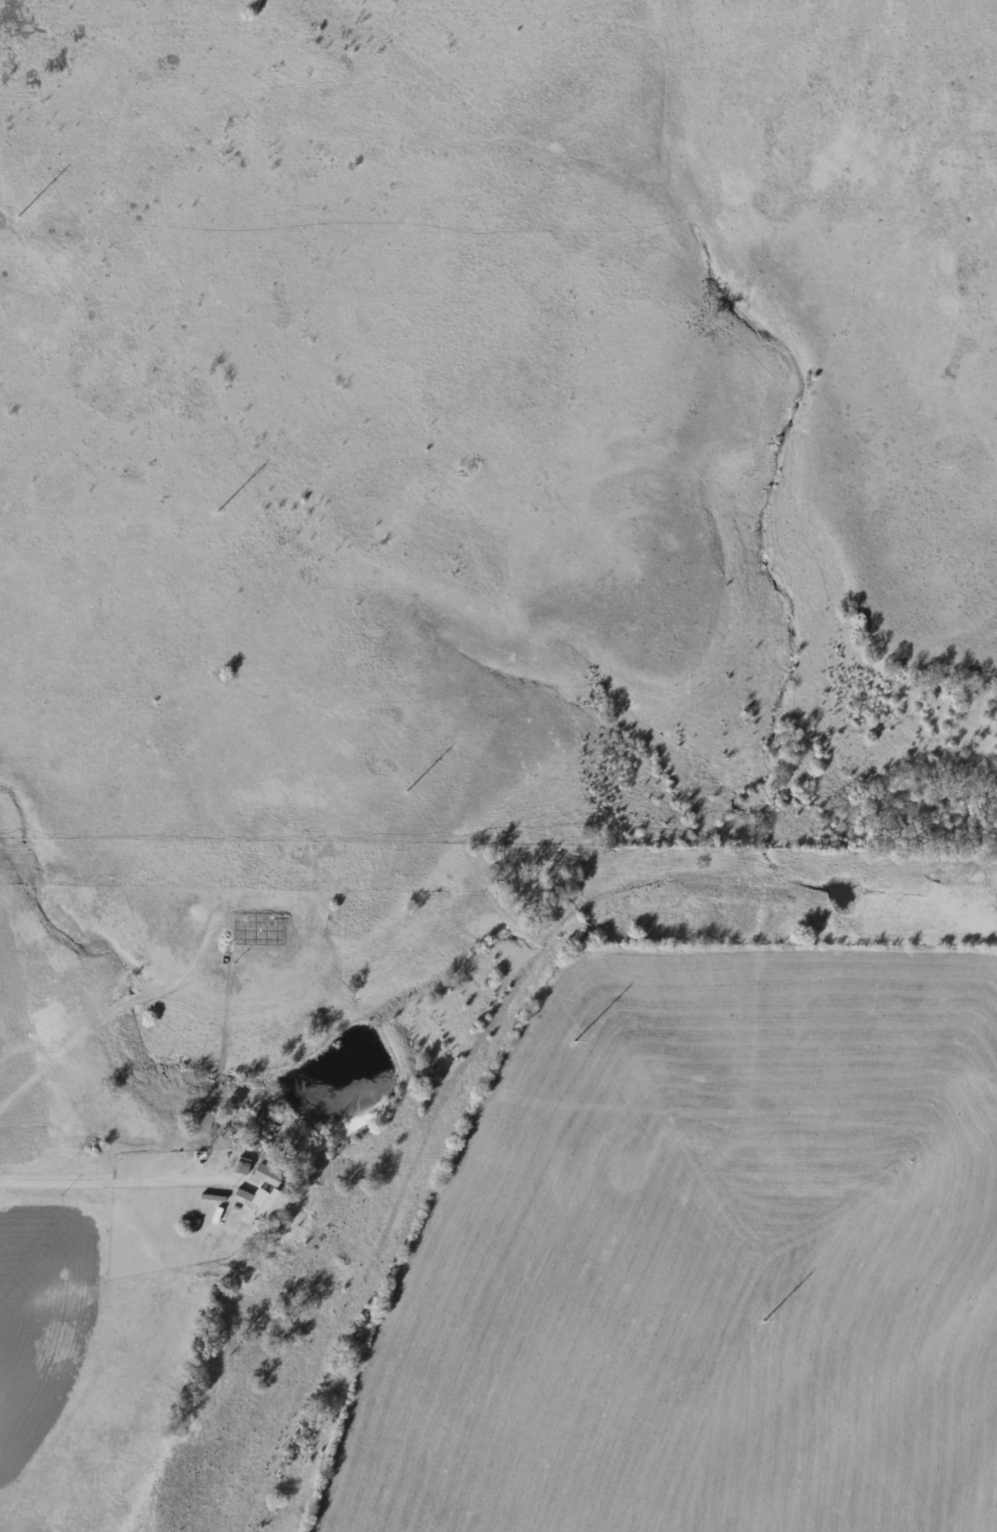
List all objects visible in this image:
building: (240, 1166)
building: (263, 1176)
road: (108, 1184)
road: (364, 1366)

